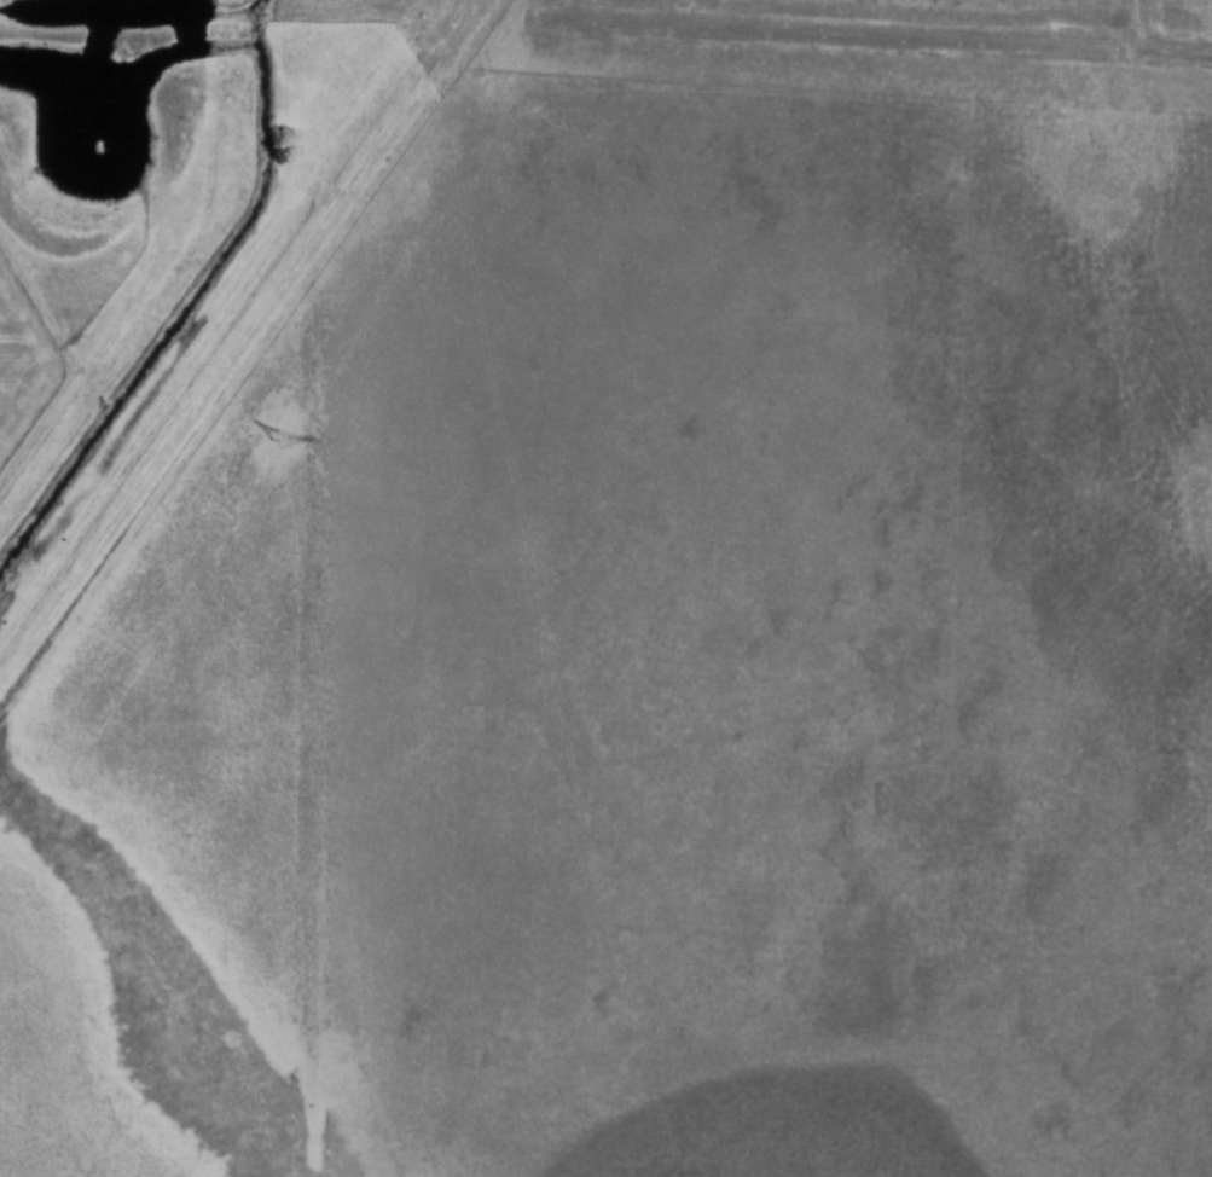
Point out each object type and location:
power tower: (262, 462)

